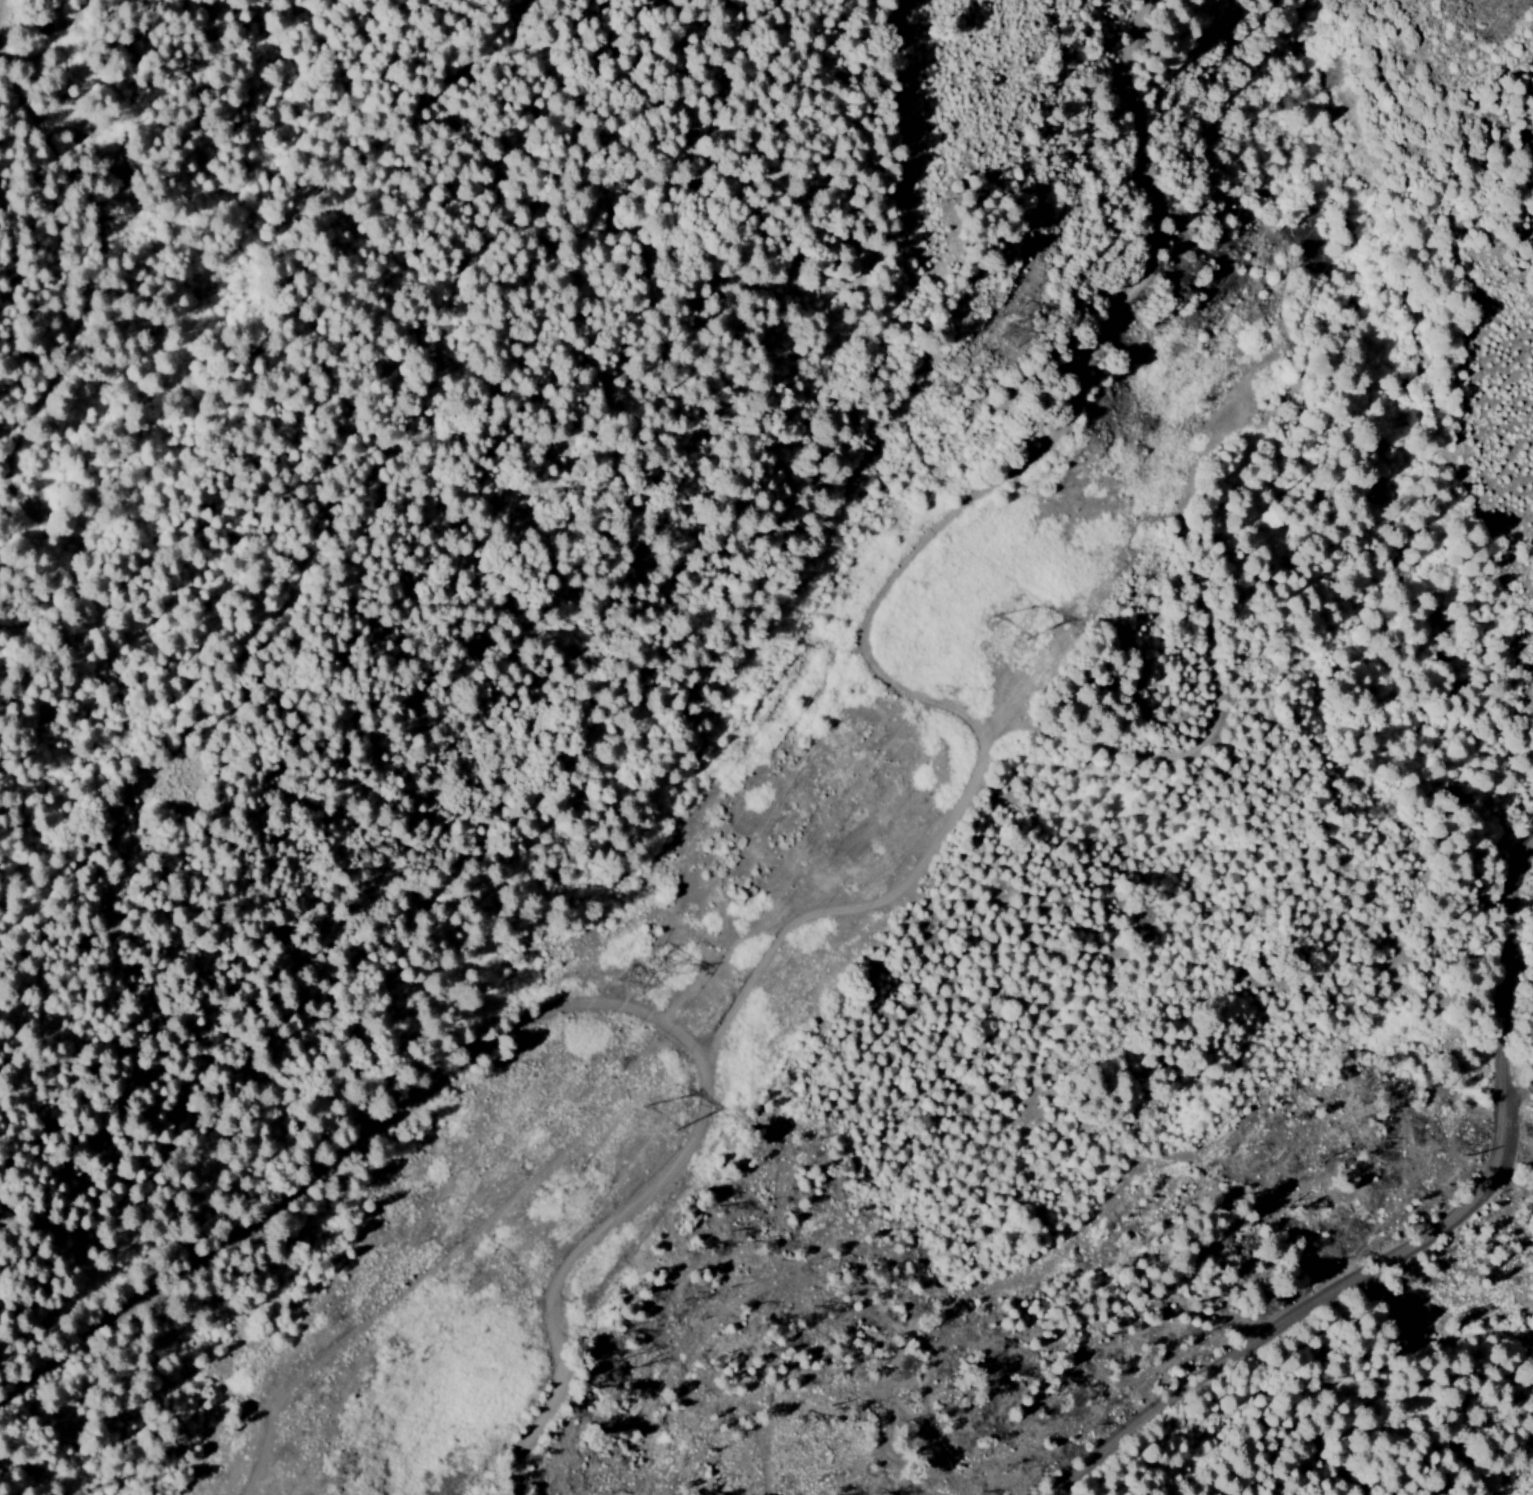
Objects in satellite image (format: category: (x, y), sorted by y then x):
building: (115, 165)
road: (188, 291)
power tower: (1012, 317)
power tower: (1009, 614)
road: (1009, 745)
power tower: (635, 966)
road: (535, 1034)
road: (1508, 1095)
power tower: (648, 1107)
road: (1427, 1242)

